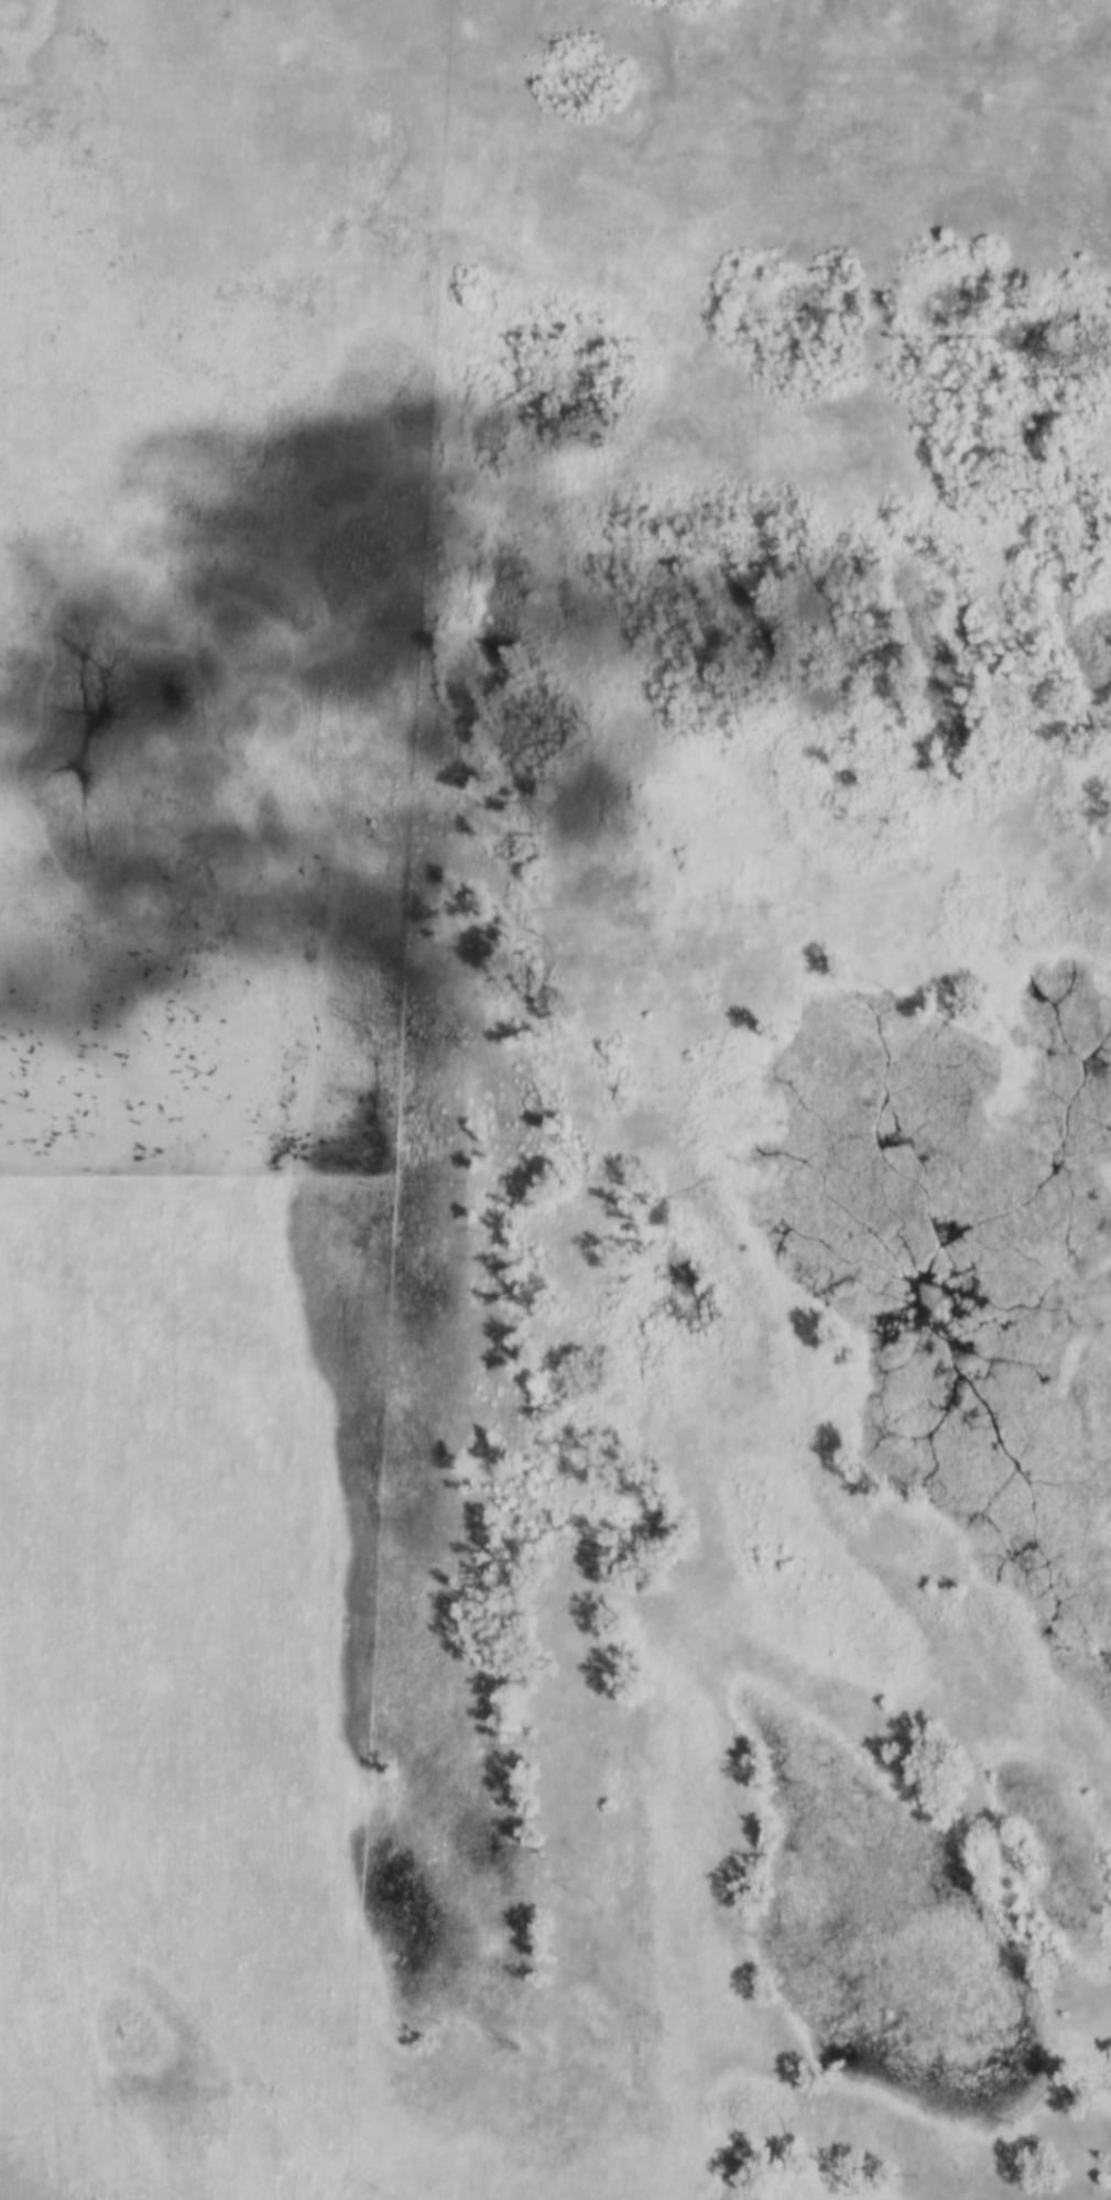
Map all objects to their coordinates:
road: (127, 2052)

